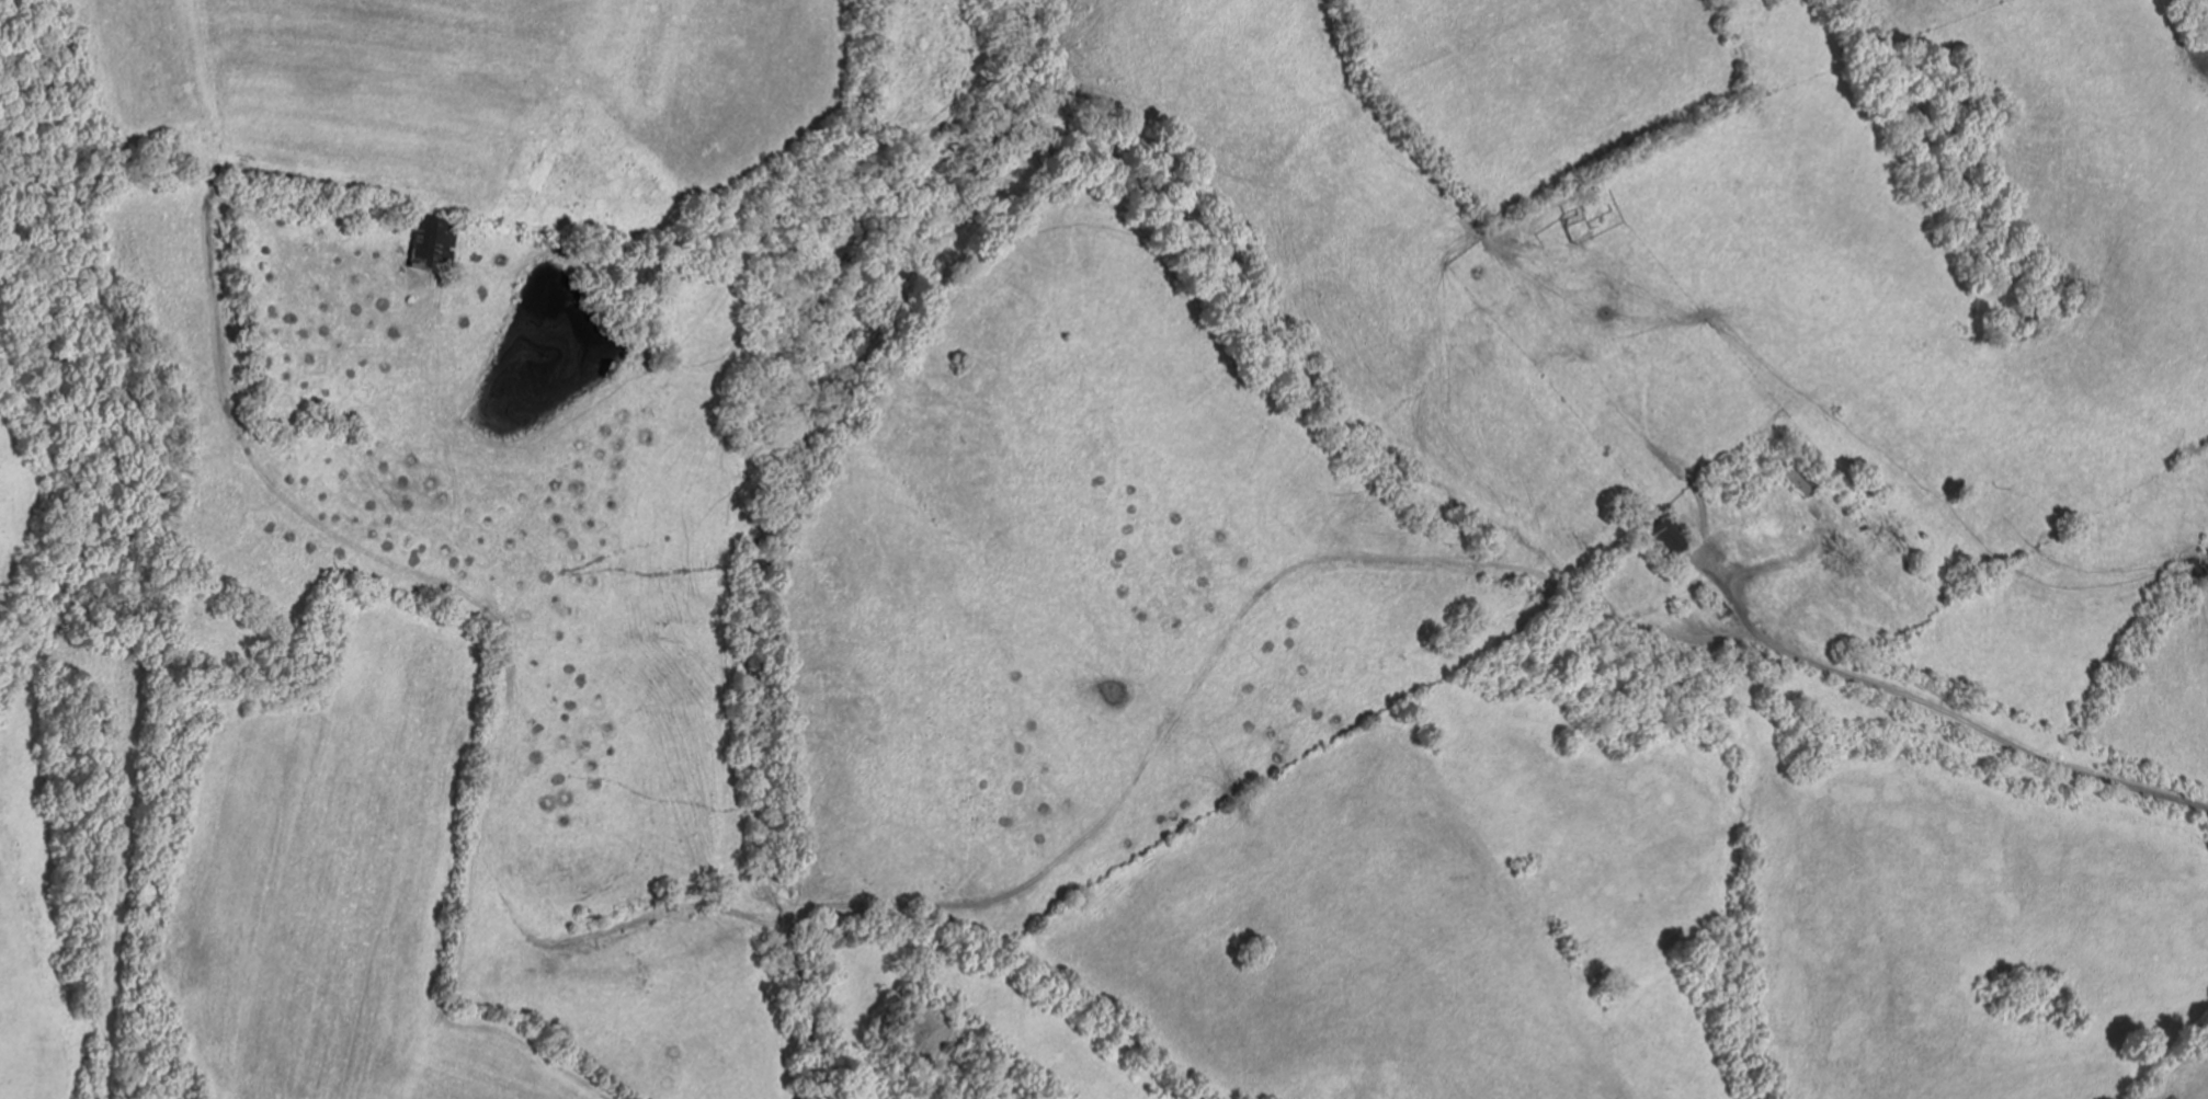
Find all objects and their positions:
building: (1533, 186)
building: (443, 244)
building: (1807, 478)
building: (1675, 535)
road: (1949, 710)

